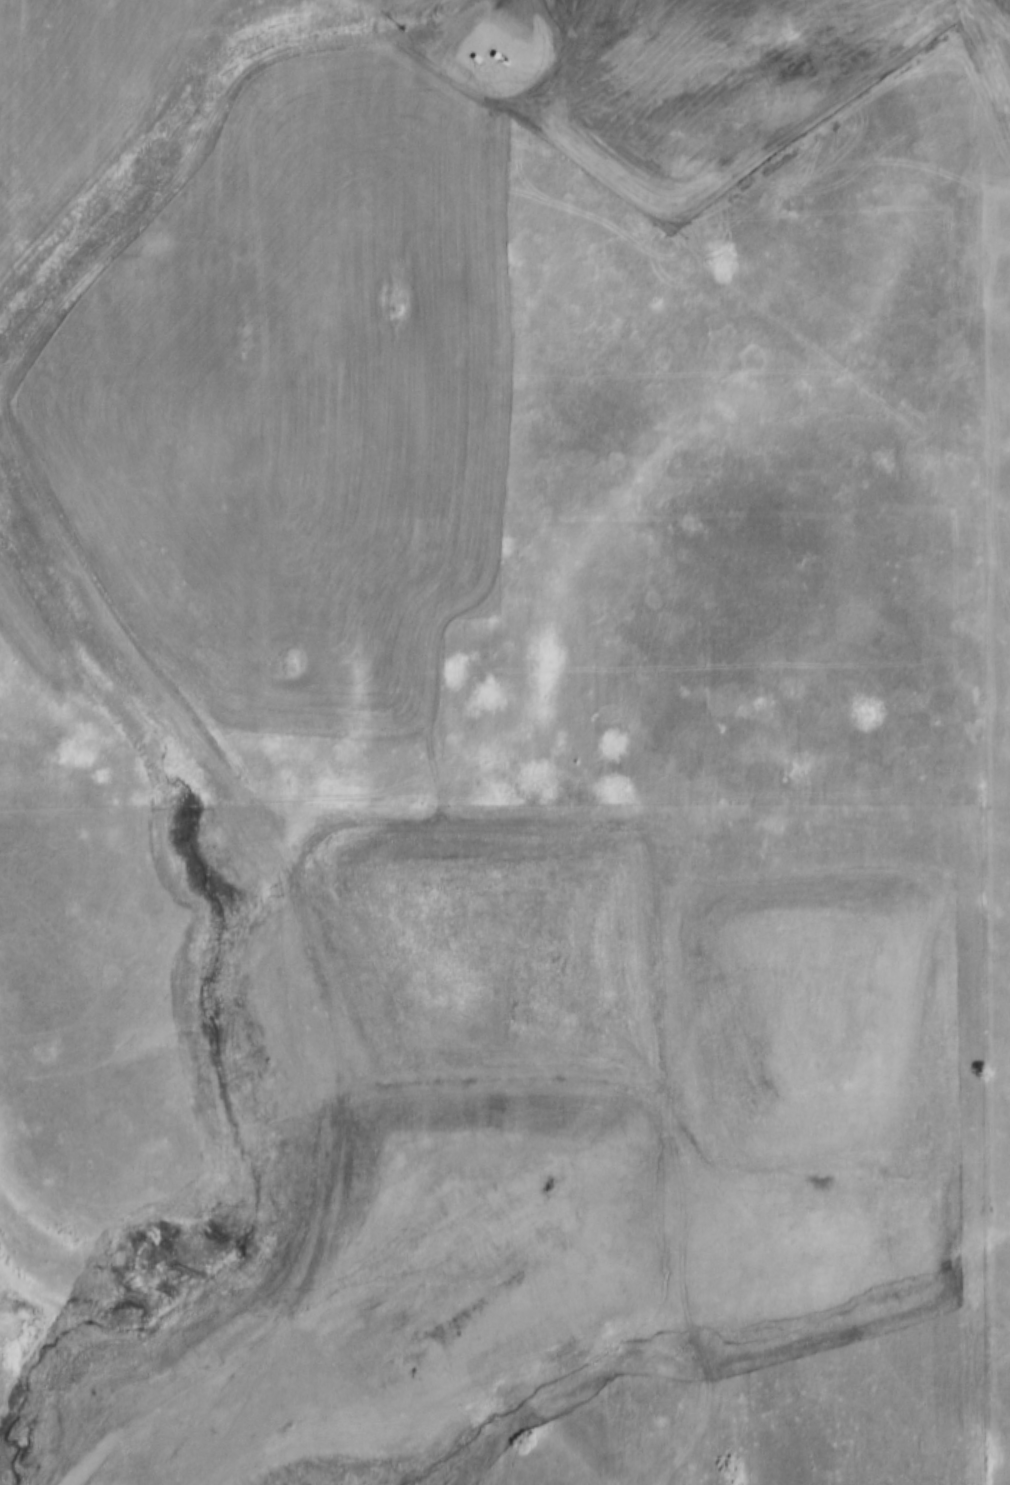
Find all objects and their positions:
road: (488, 1469)

